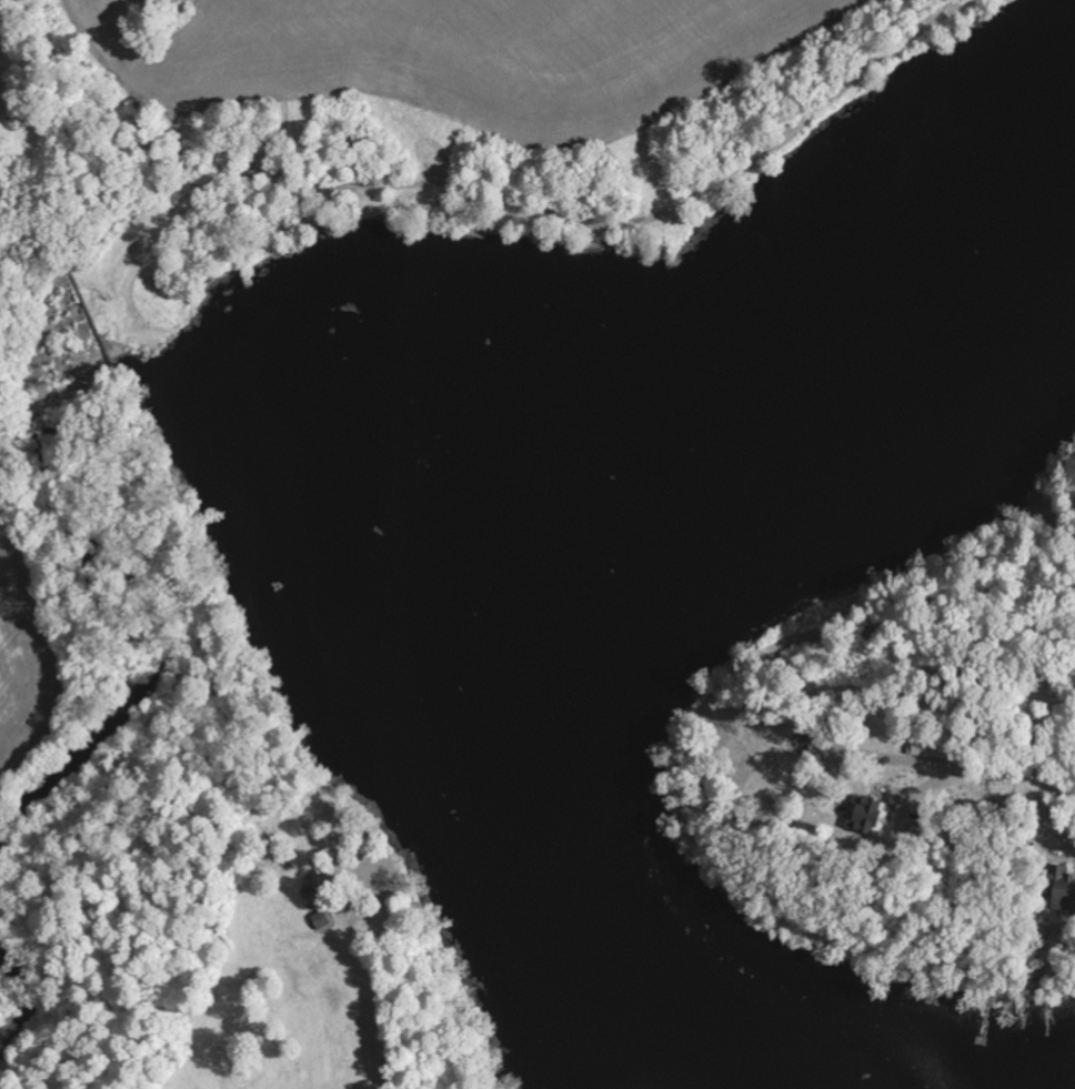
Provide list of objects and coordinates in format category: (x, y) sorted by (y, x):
building: (930, 745)
road: (1039, 784)
building: (868, 815)
building: (1061, 887)
building: (321, 920)

